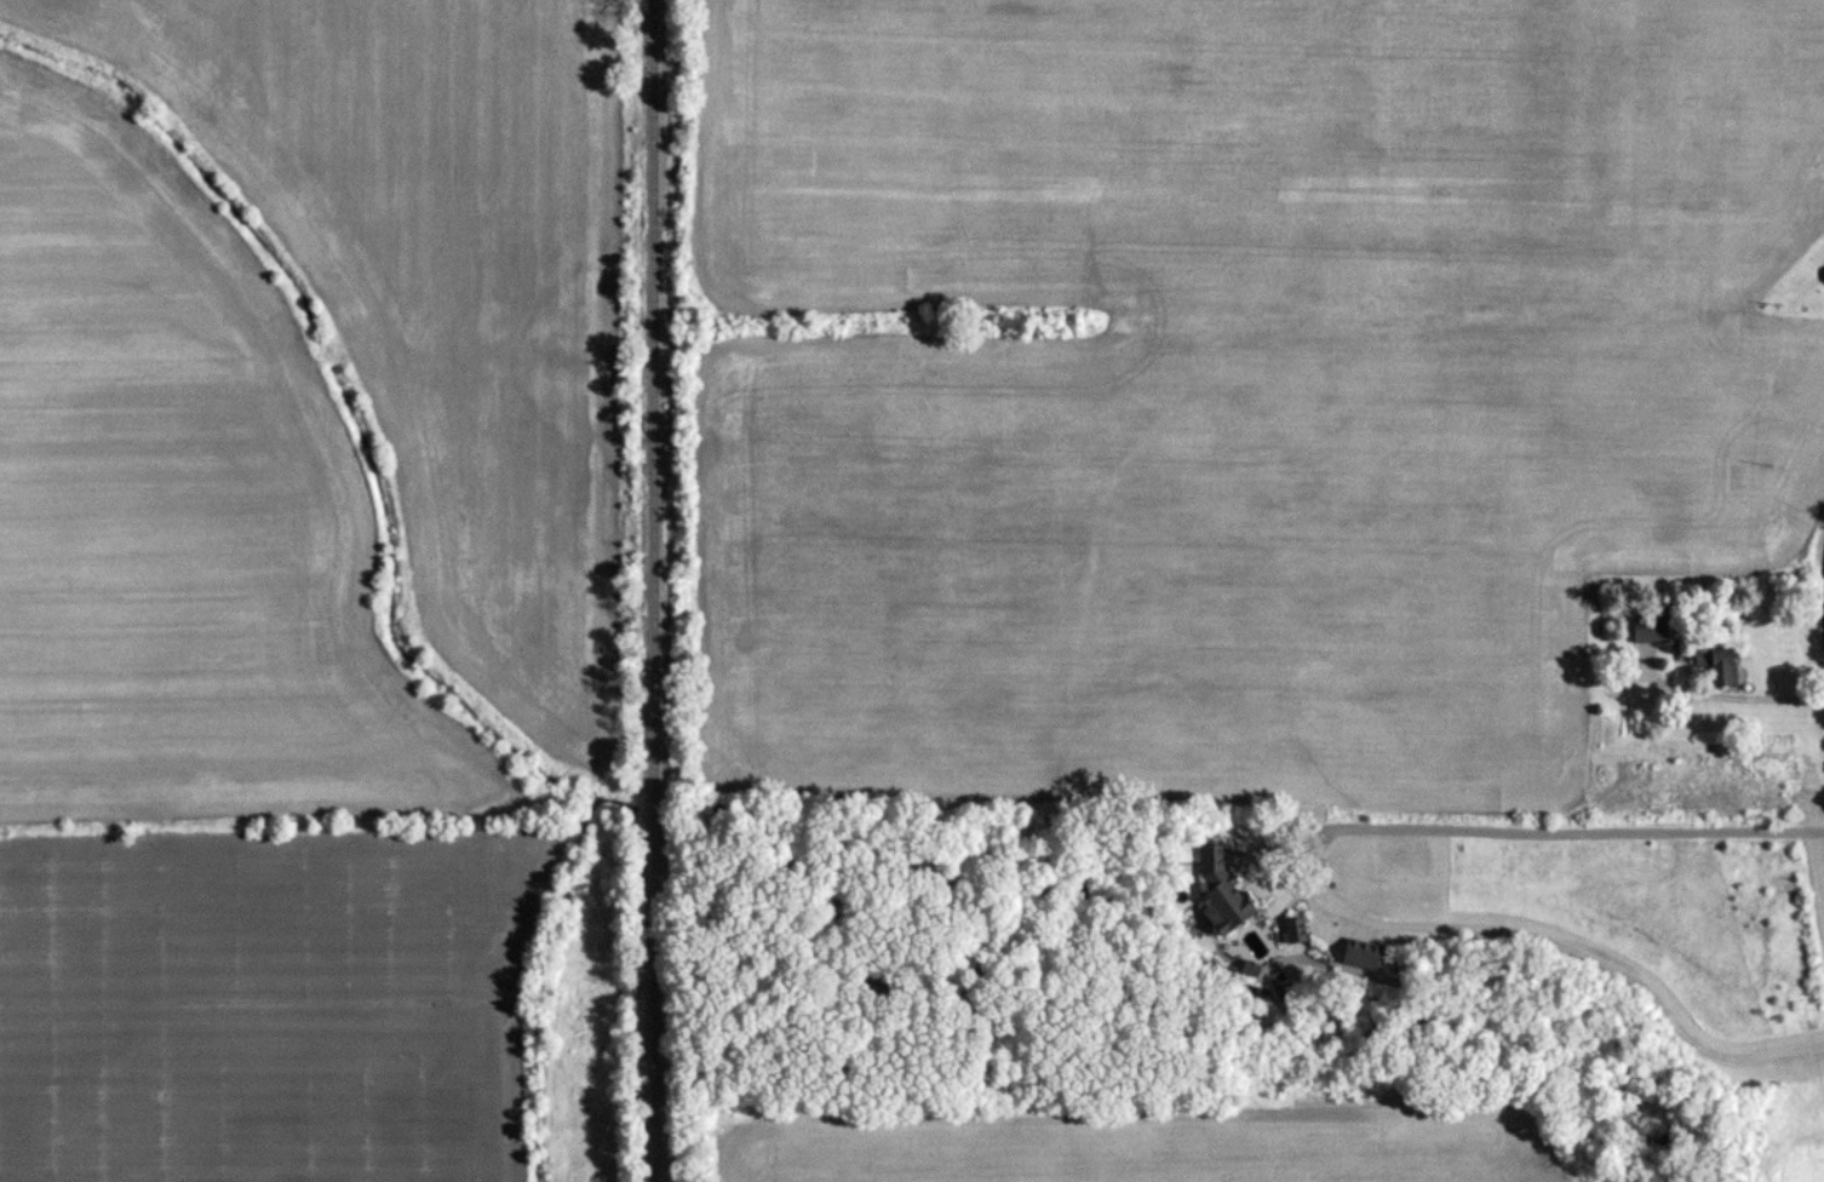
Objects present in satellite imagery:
railway: (653, 591)
building: (1647, 630)
building: (1716, 666)
road: (1733, 698)
building: (1216, 893)
building: (1291, 930)
road: (1536, 936)
building: (1352, 954)

